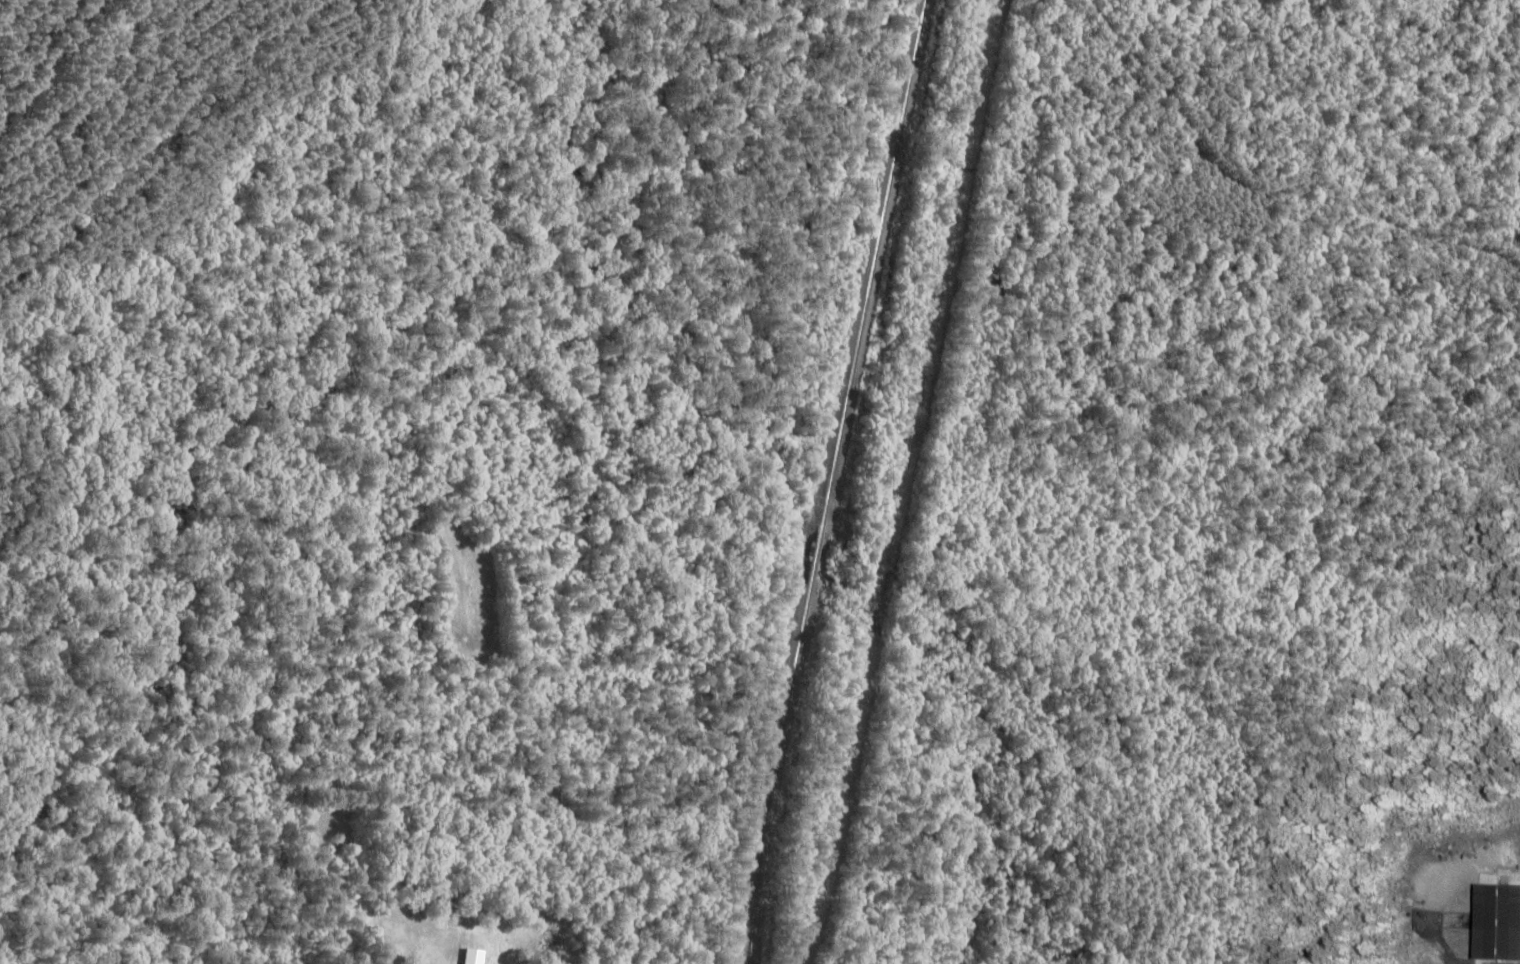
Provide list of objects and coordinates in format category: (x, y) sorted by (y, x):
railway: (831, 480)
building: (1494, 920)
building: (468, 956)

